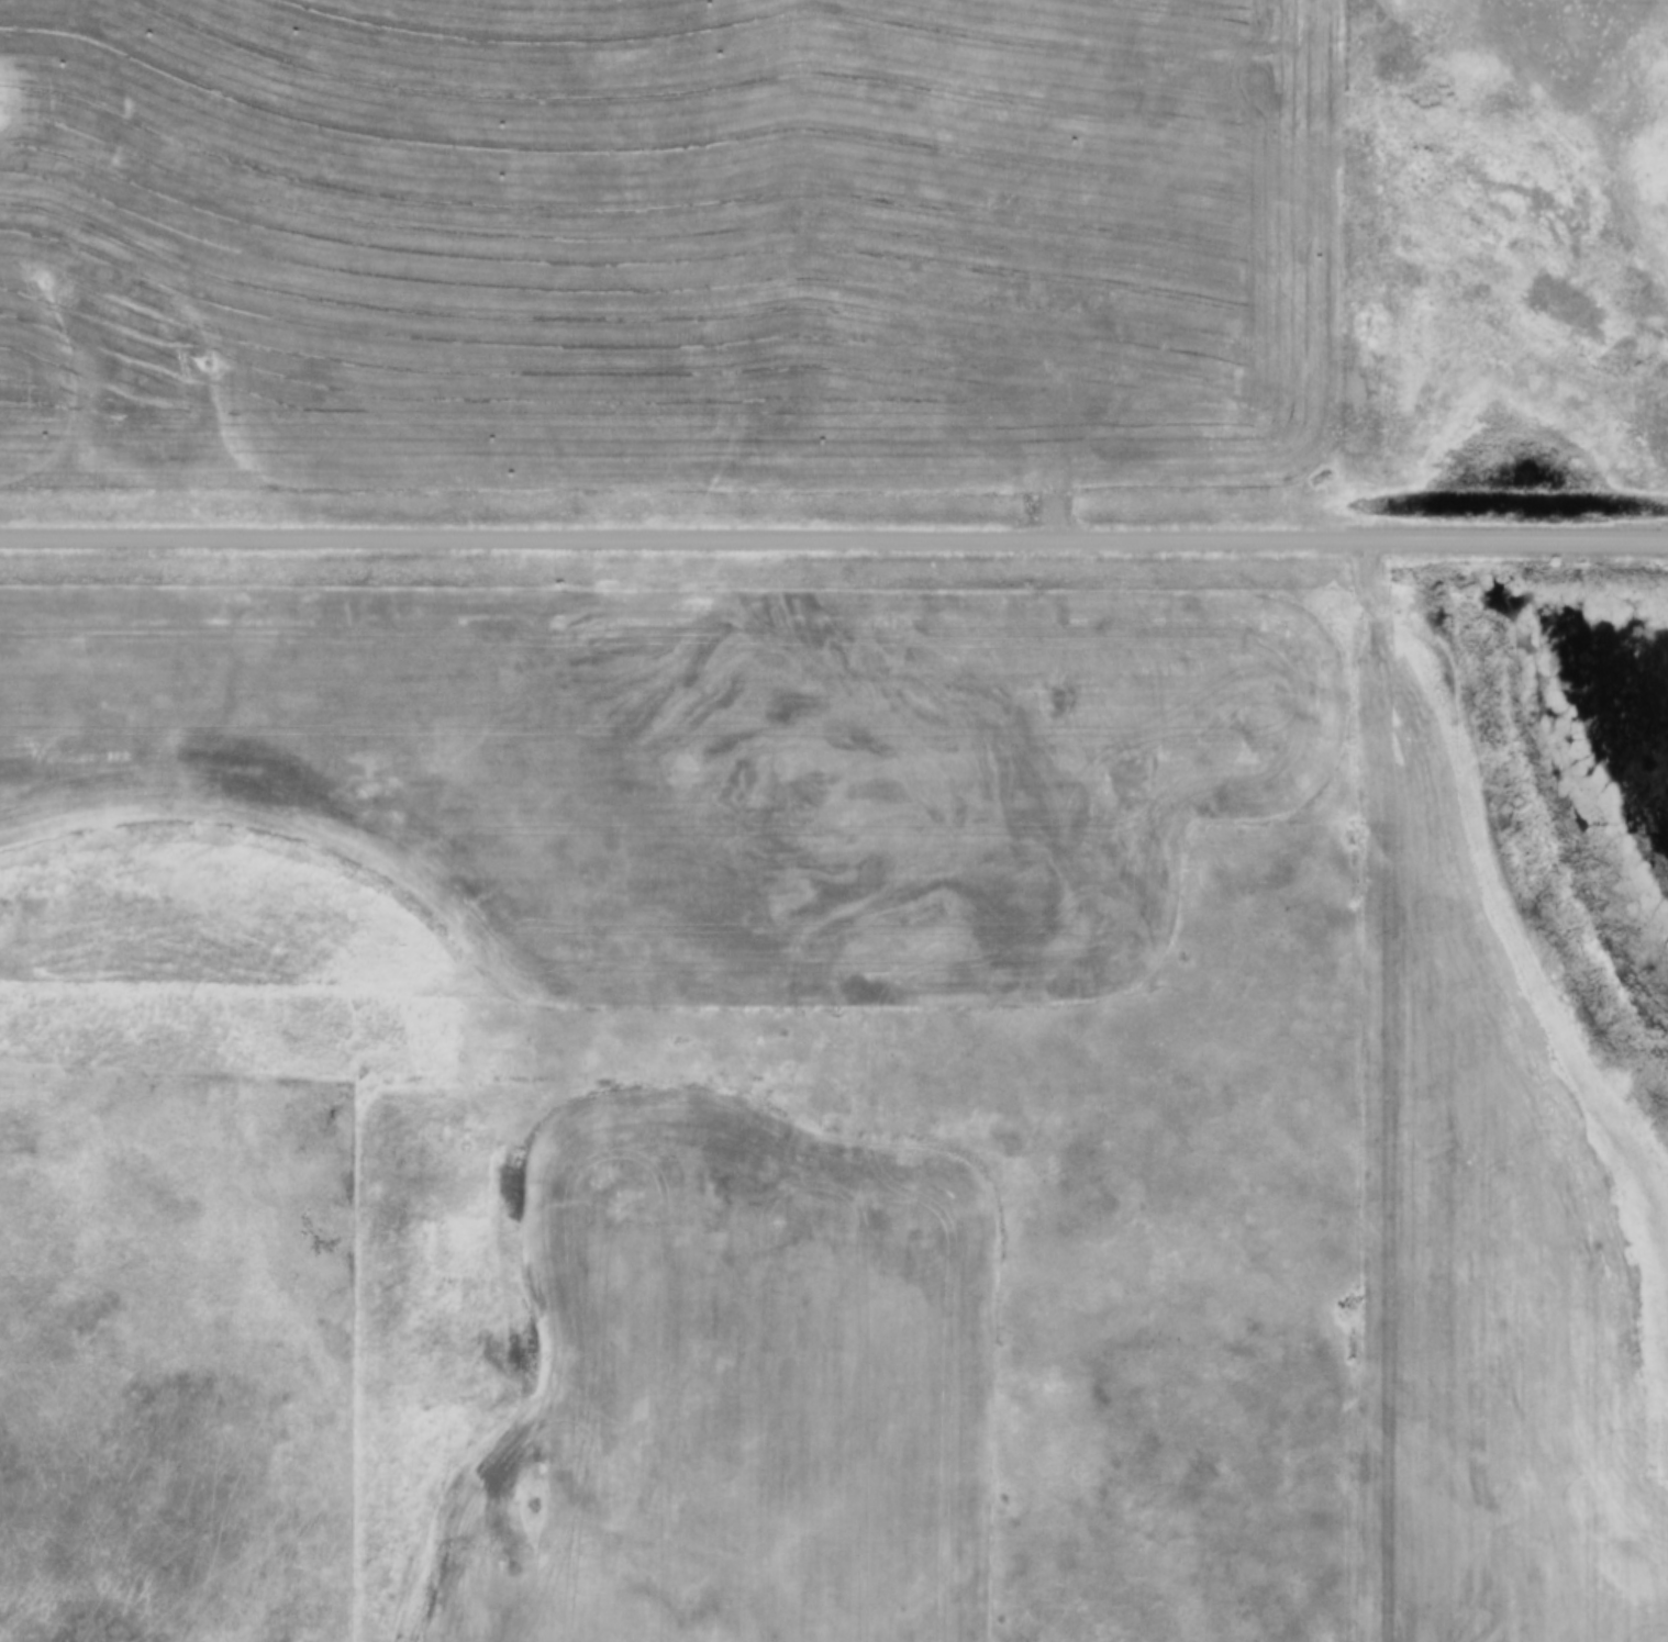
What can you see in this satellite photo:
building: (882, 488)
road: (834, 536)

